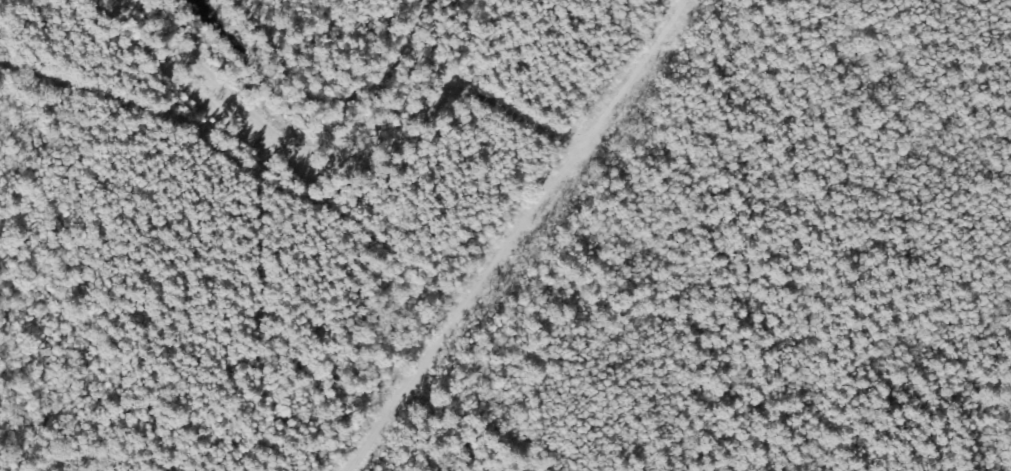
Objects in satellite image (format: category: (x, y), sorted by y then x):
road: (518, 234)

